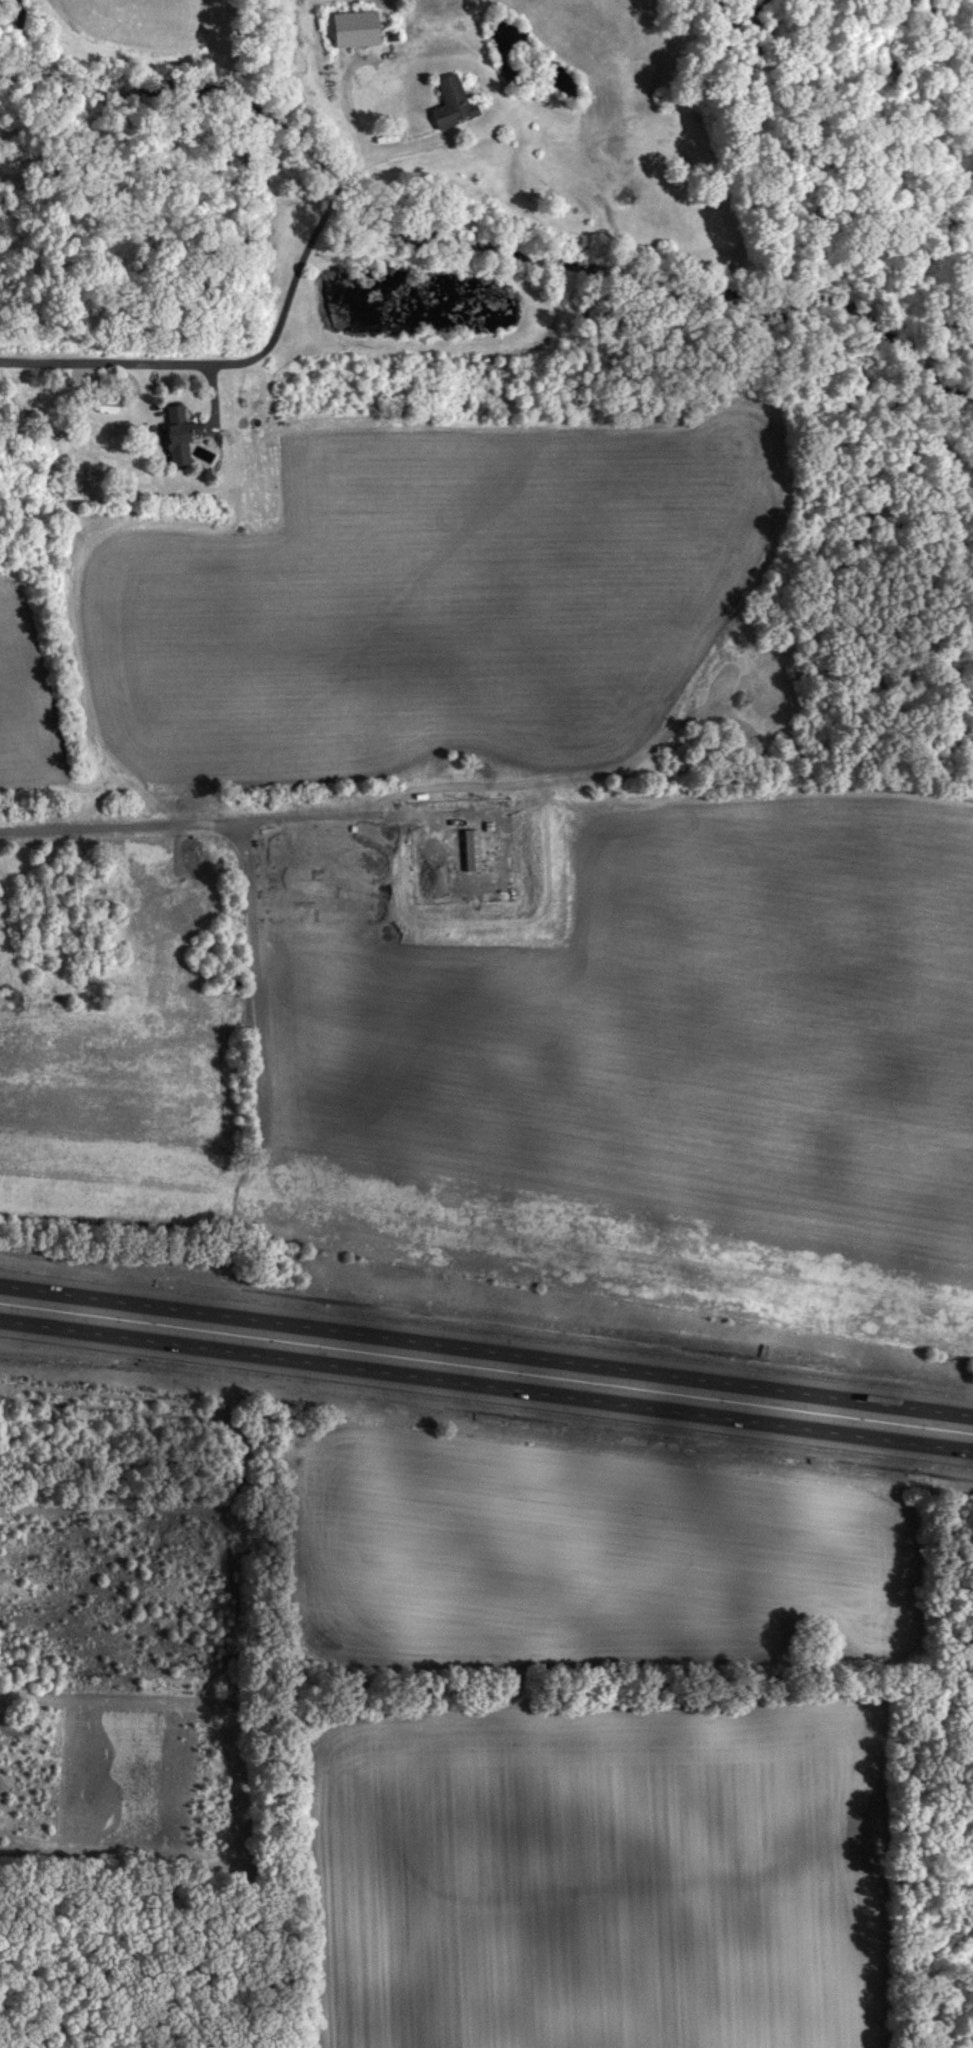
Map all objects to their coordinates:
building: (359, 30)
building: (455, 103)
road: (274, 339)
building: (183, 436)
road: (237, 823)
building: (475, 851)
road: (486, 1350)
road: (486, 1379)
crop: (583, 1557)
crop: (602, 1875)

